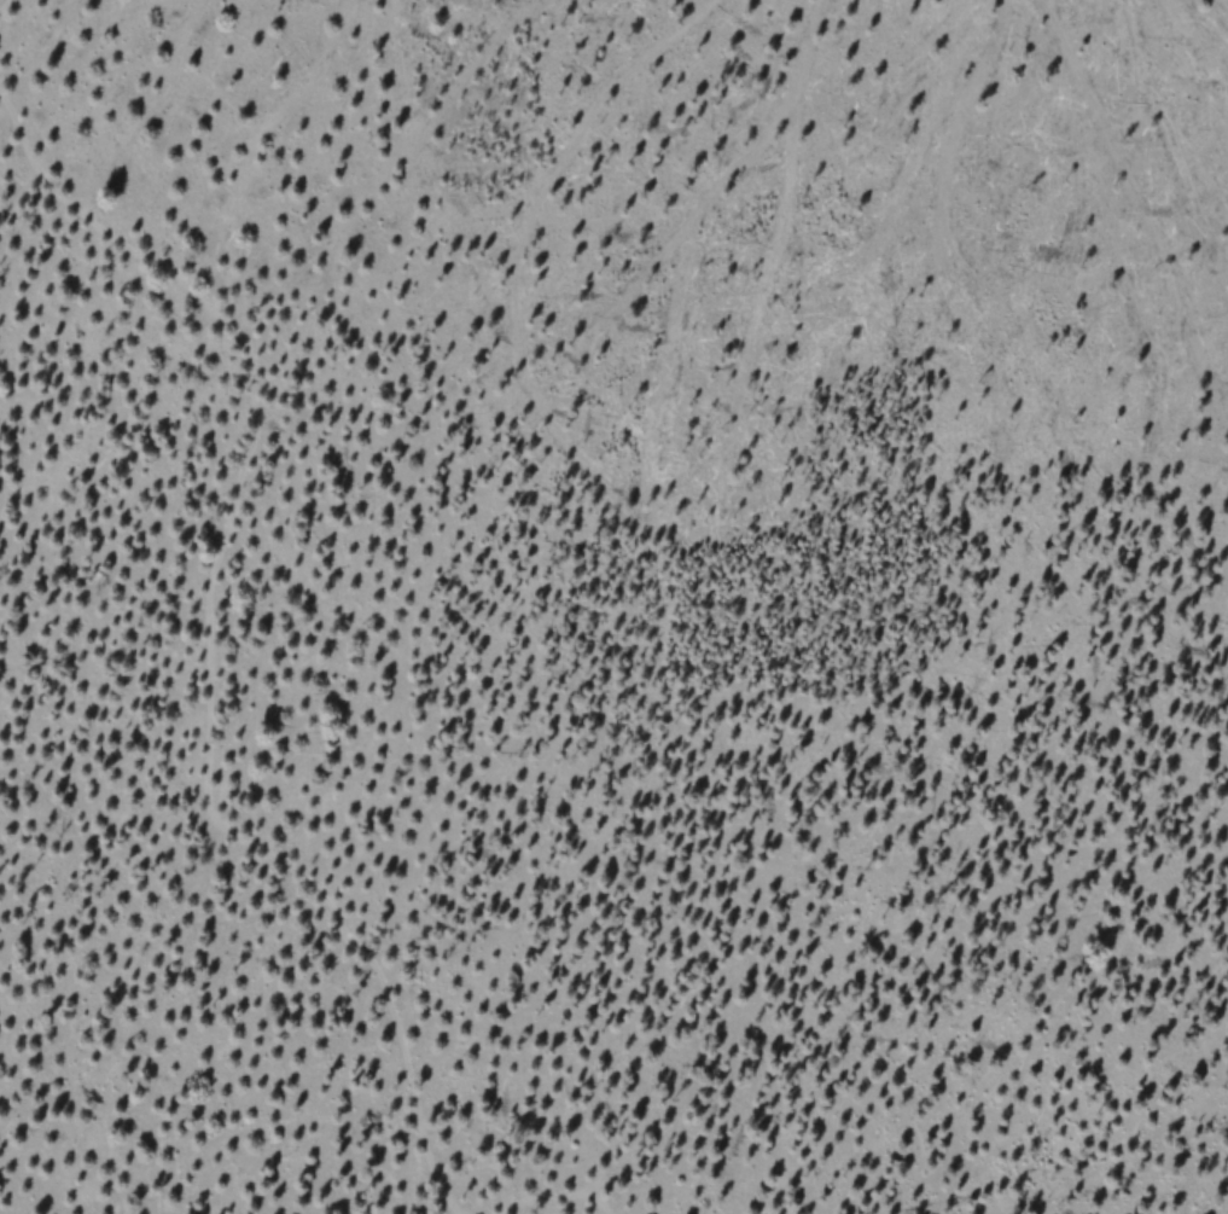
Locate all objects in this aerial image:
road: (7, 12)
road: (199, 618)
road: (304, 1024)

